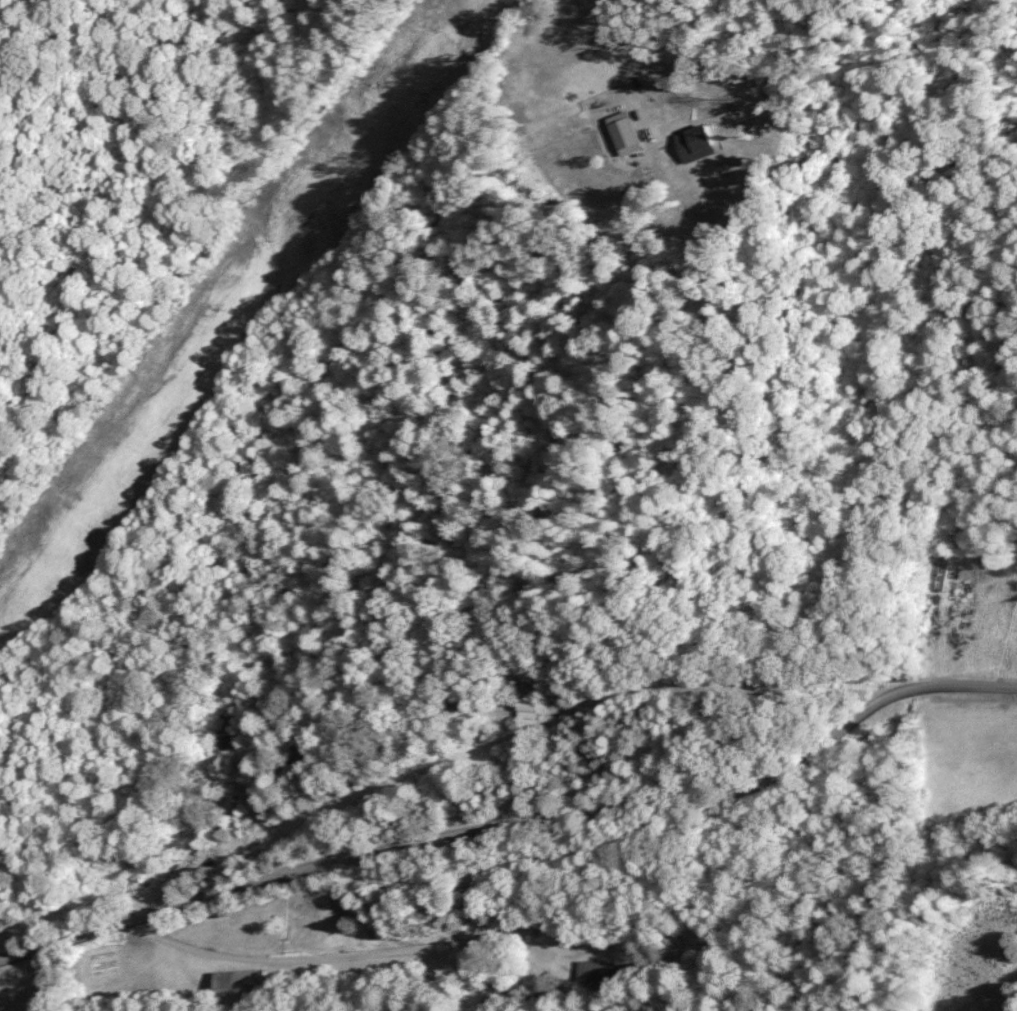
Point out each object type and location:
building: (530, 707)
building: (226, 732)
building: (230, 809)
road: (514, 818)
road: (441, 951)
building: (598, 971)
building: (238, 985)

